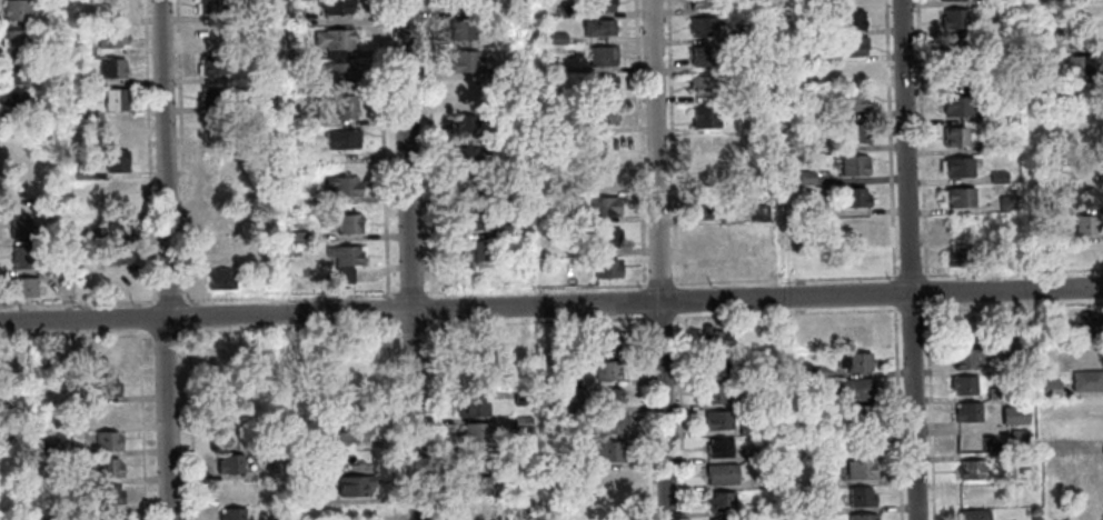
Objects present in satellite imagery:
building: (990, 1)
building: (459, 3)
building: (702, 3)
building: (597, 4)
building: (210, 6)
building: (332, 6)
building: (108, 7)
building: (14, 9)
building: (564, 10)
building: (289, 17)
building: (849, 19)
building: (952, 19)
building: (1034, 23)
building: (699, 26)
building: (991, 26)
building: (596, 27)
building: (459, 29)
building: (741, 32)
building: (215, 36)
building: (109, 37)
building: (331, 37)
building: (555, 38)
building: (1077, 38)
building: (17, 39)
building: (851, 44)
building: (953, 47)
building: (599, 54)
building: (702, 56)
building: (464, 59)
building: (211, 63)
building: (1076, 64)
building: (111, 67)
building: (546, 68)
building: (338, 70)
building: (847, 70)
building: (13, 71)
building: (1035, 71)
building: (487, 72)
building: (954, 76)
building: (798, 79)
building: (700, 83)
building: (602, 86)
building: (764, 91)
building: (1081, 91)
building: (212, 93)
building: (468, 93)
building: (113, 98)
building: (847, 99)
building: (264, 100)
building: (16, 101)
building: (955, 104)
building: (344, 106)
building: (76, 111)
building: (602, 114)
building: (801, 114)
building: (702, 117)
building: (1082, 117)
building: (315, 119)
building: (461, 123)
building: (113, 130)
building: (844, 132)
building: (953, 136)
building: (339, 138)
road: (918, 139)
road: (887, 140)
road: (637, 143)
road: (669, 143)
building: (991, 143)
building: (706, 146)
road: (380, 149)
road: (427, 149)
road: (150, 150)
road: (179, 151)
building: (467, 154)
building: (216, 157)
building: (115, 159)
road: (165, 159)
building: (852, 164)
building: (20, 166)
building: (956, 166)
building: (513, 167)
building: (1084, 169)
building: (79, 172)
building: (605, 176)
building: (709, 177)
building: (804, 177)
building: (996, 177)
building: (340, 184)
building: (468, 186)
building: (120, 191)
building: (20, 194)
building: (957, 196)
building: (852, 197)
building: (1081, 197)
building: (497, 199)
building: (1005, 203)
building: (602, 206)
building: (706, 206)
building: (1046, 208)
building: (805, 209)
building: (467, 218)
building: (555, 218)
building: (218, 219)
building: (116, 221)
building: (346, 222)
building: (1083, 223)
building: (18, 226)
building: (856, 229)
building: (500, 230)
building: (91, 233)
building: (294, 236)
building: (714, 236)
building: (605, 237)
building: (213, 249)
building: (470, 250)
building: (115, 253)
building: (966, 254)
building: (20, 256)
building: (274, 258)
road: (657, 259)
building: (861, 259)
building: (342, 260)
road: (409, 260)
building: (518, 260)
road: (907, 260)
building: (57, 266)
building: (742, 266)
building: (605, 268)
road: (1012, 270)
road: (908, 274)
road: (783, 278)
building: (219, 279)
building: (120, 282)
road: (658, 283)
building: (22, 286)
road: (413, 290)
road: (925, 291)
road: (892, 292)
road: (168, 299)
road: (675, 300)
road: (77, 301)
road: (642, 301)
road: (1049, 304)
road: (551, 306)
road: (924, 308)
road: (387, 309)
road: (434, 309)
road: (908, 309)
road: (783, 313)
road: (185, 314)
road: (658, 317)
road: (535, 321)
building: (1046, 322)
building: (1086, 323)
road: (409, 324)
road: (286, 329)
road: (161, 333)
building: (861, 334)
building: (774, 336)
road: (73, 337)
building: (713, 338)
building: (1005, 340)
building: (599, 343)
building: (109, 356)
building: (964, 357)
building: (853, 360)
building: (713, 364)
building: (605, 369)
building: (761, 371)
building: (813, 371)
building: (550, 378)
building: (1085, 380)
building: (961, 384)
building: (103, 386)
building: (1049, 388)
building: (853, 389)
building: (713, 392)
building: (994, 392)
building: (520, 397)
building: (606, 397)
building: (751, 400)
building: (549, 404)
building: (469, 407)
building: (1089, 408)
road: (928, 411)
building: (966, 411)
building: (109, 412)
road: (895, 413)
building: (859, 414)
building: (1012, 414)
road: (679, 416)
road: (645, 417)
road: (165, 419)
road: (438, 419)
building: (716, 419)
road: (389, 420)
building: (520, 422)
road: (188, 423)
building: (605, 423)
building: (801, 423)
road: (140, 427)
building: (745, 428)
building: (351, 431)
building: (474, 431)
building: (1016, 434)
building: (1090, 434)
building: (106, 440)
building: (302, 440)
building: (47, 446)
building: (717, 447)
building: (609, 450)
building: (753, 454)
building: (551, 458)
building: (475, 459)
building: (1091, 461)
building: (228, 463)
building: (505, 463)
building: (106, 467)
building: (858, 469)
building: (970, 469)
building: (719, 473)
building: (608, 478)
building: (773, 478)
building: (823, 478)
building: (352, 484)
building: (476, 486)
building: (233, 489)
building: (306, 492)
building: (107, 493)
building: (859, 496)
building: (973, 496)
building: (719, 500)
building: (484, 509)
building: (753, 509)
building: (613, 510)
building: (1093, 512)
building: (230, 513)
building: (972, 514)
building: (105, 516)
building: (861, 517)
building: (722, 519)

